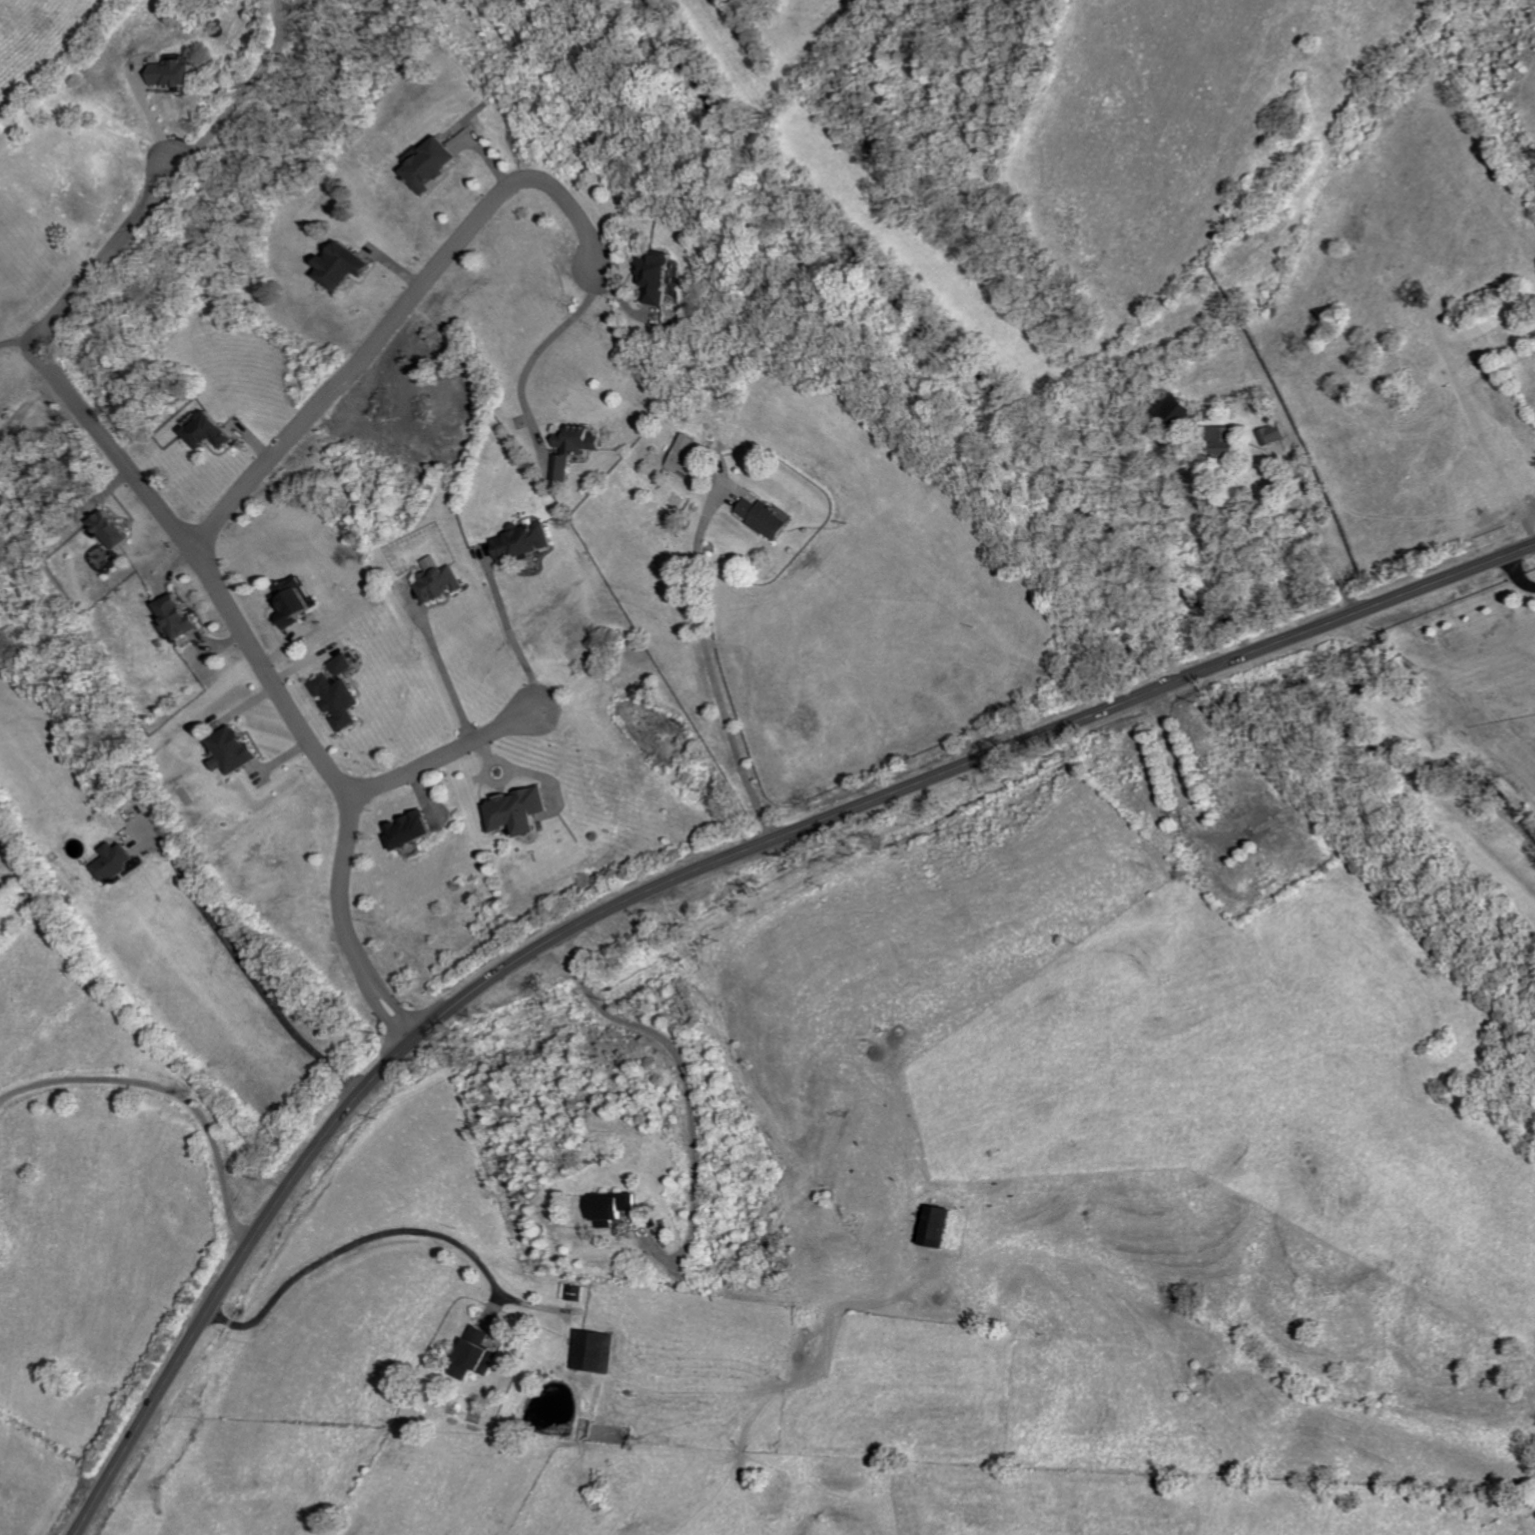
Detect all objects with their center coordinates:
road: (298, 20)
building: (180, 72)
road: (247, 88)
road: (155, 119)
building: (433, 164)
building: (346, 266)
building: (665, 277)
road: (396, 319)
road: (22, 347)
road: (539, 353)
building: (1177, 408)
building: (213, 431)
building: (1272, 434)
building: (1224, 440)
building: (575, 447)
building: (688, 456)
road: (134, 476)
building: (768, 519)
building: (115, 529)
building: (528, 541)
road: (1321, 544)
building: (441, 582)
building: (294, 602)
building: (180, 616)
road: (516, 635)
road: (712, 667)
road: (457, 670)
building: (341, 693)
building: (235, 751)
road: (442, 757)
building: (524, 811)
building: (415, 830)
building: (116, 862)
road: (681, 877)
road: (348, 928)
road: (243, 962)
road: (380, 990)
road: (173, 1090)
road: (690, 1091)
road: (785, 1143)
building: (615, 1208)
building: (939, 1227)
road: (353, 1242)
building: (577, 1293)
building: (595, 1351)
building: (478, 1355)

